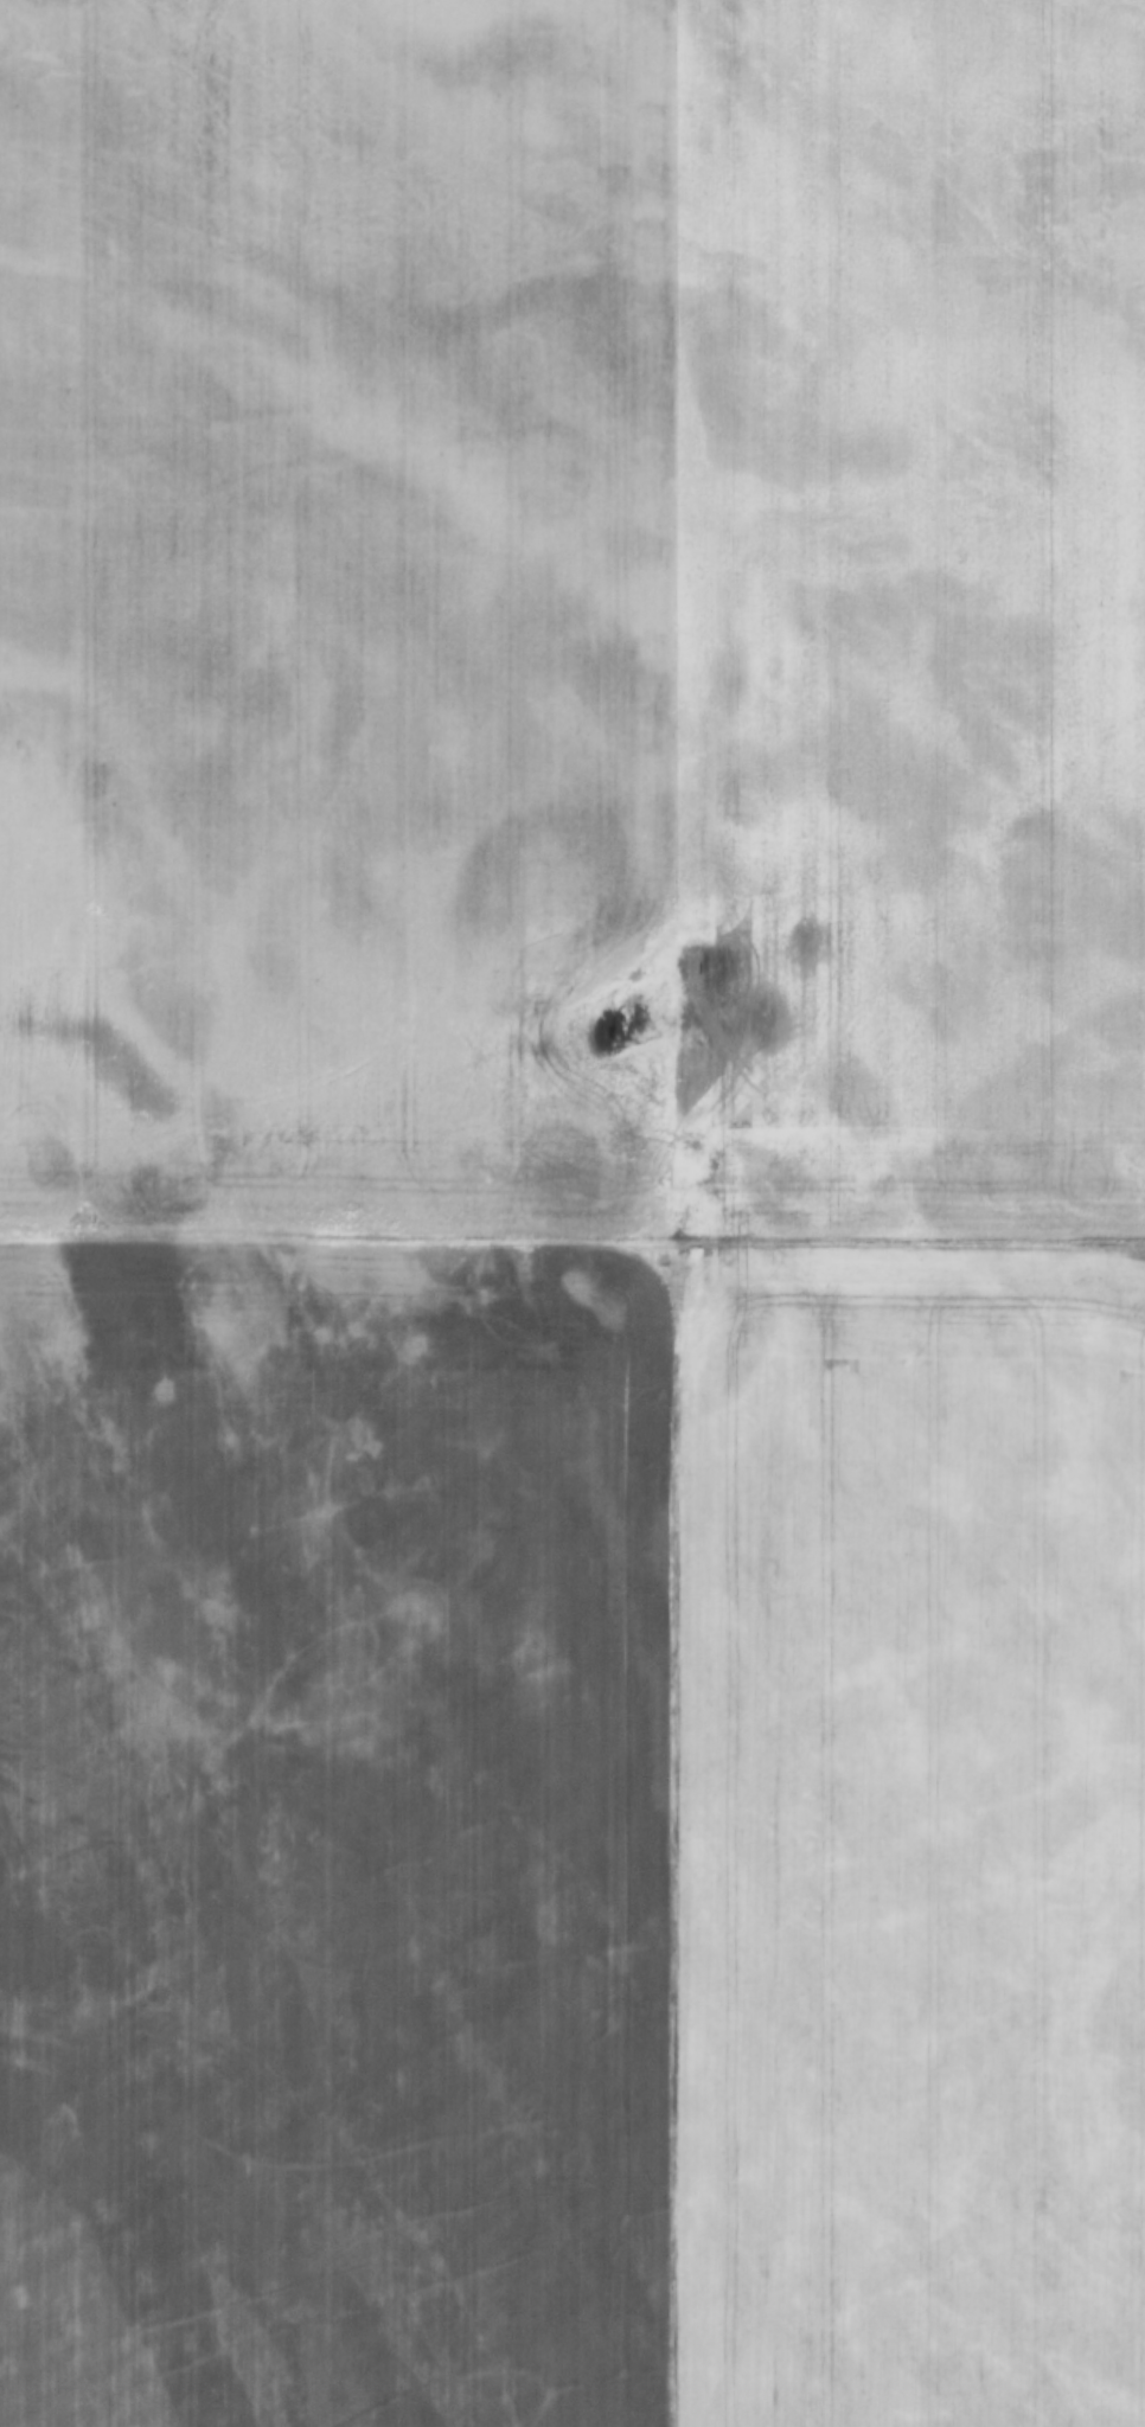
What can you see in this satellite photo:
road: (571, 1237)

